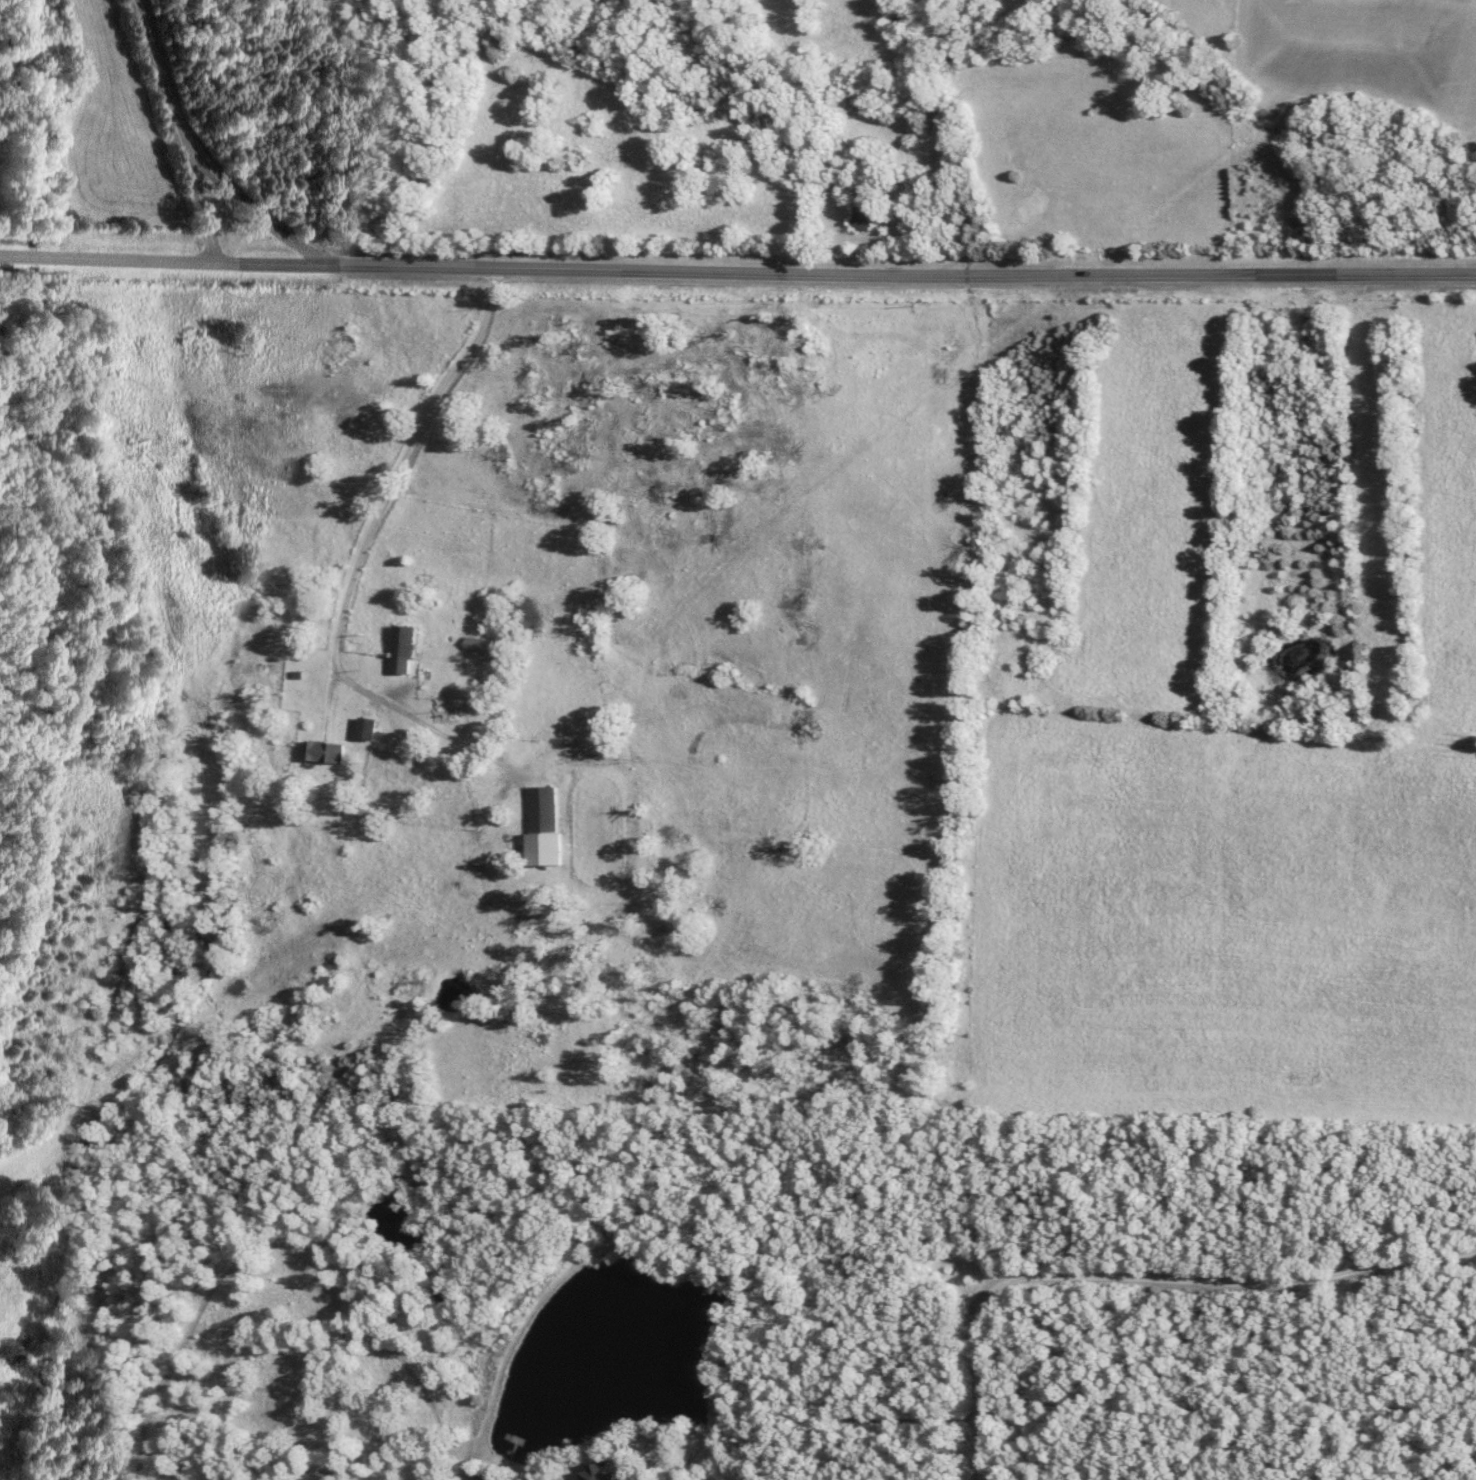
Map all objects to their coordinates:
road: (178, 130)
road: (249, 208)
building: (864, 218)
road: (737, 273)
road: (401, 466)
building: (482, 645)
building: (406, 649)
building: (369, 728)
building: (327, 752)
building: (546, 826)
road: (1136, 1279)
building: (486, 1478)

